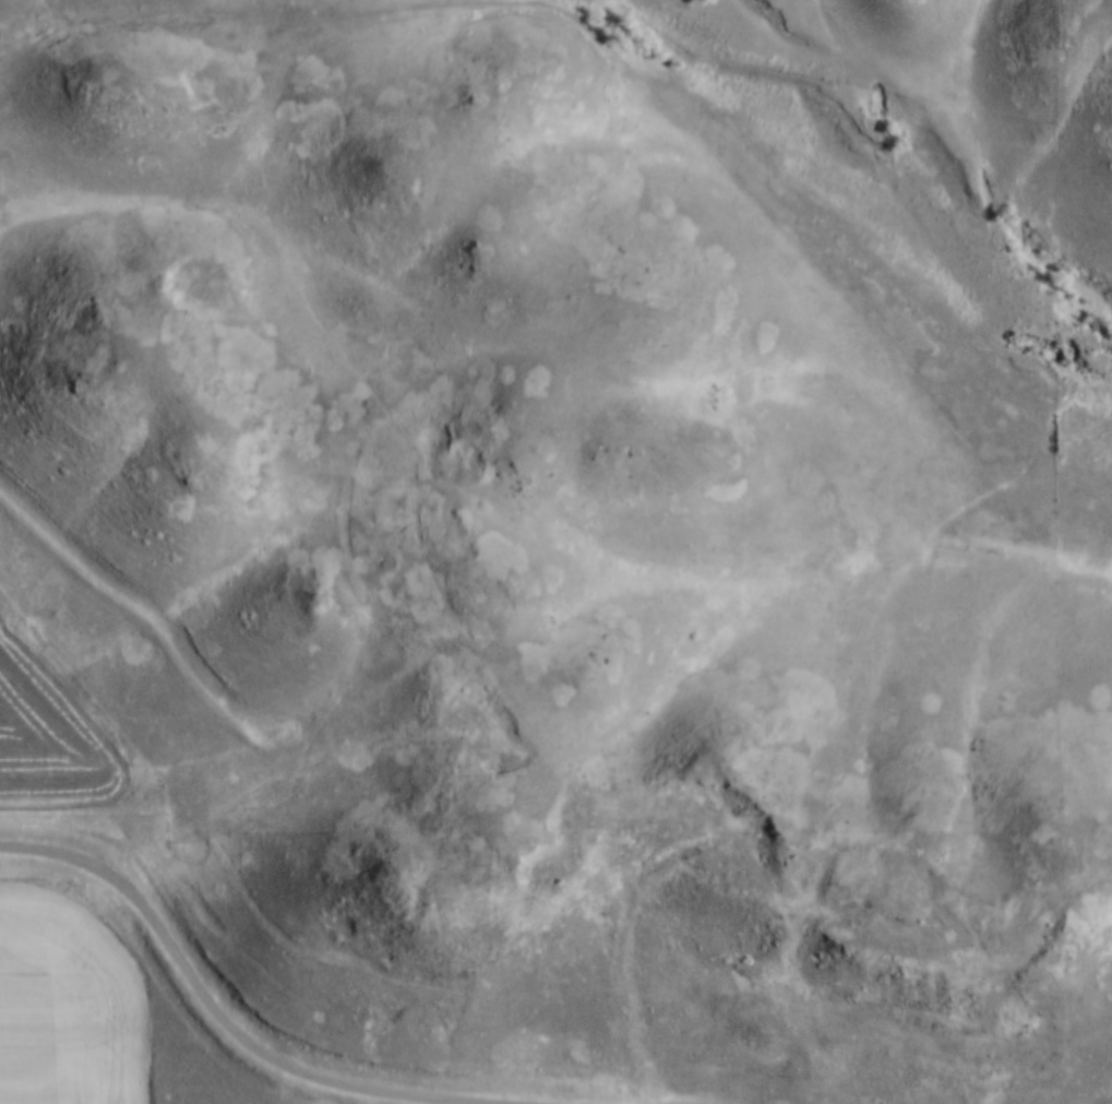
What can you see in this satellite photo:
road: (254, 1047)
road: (1103, 1099)

